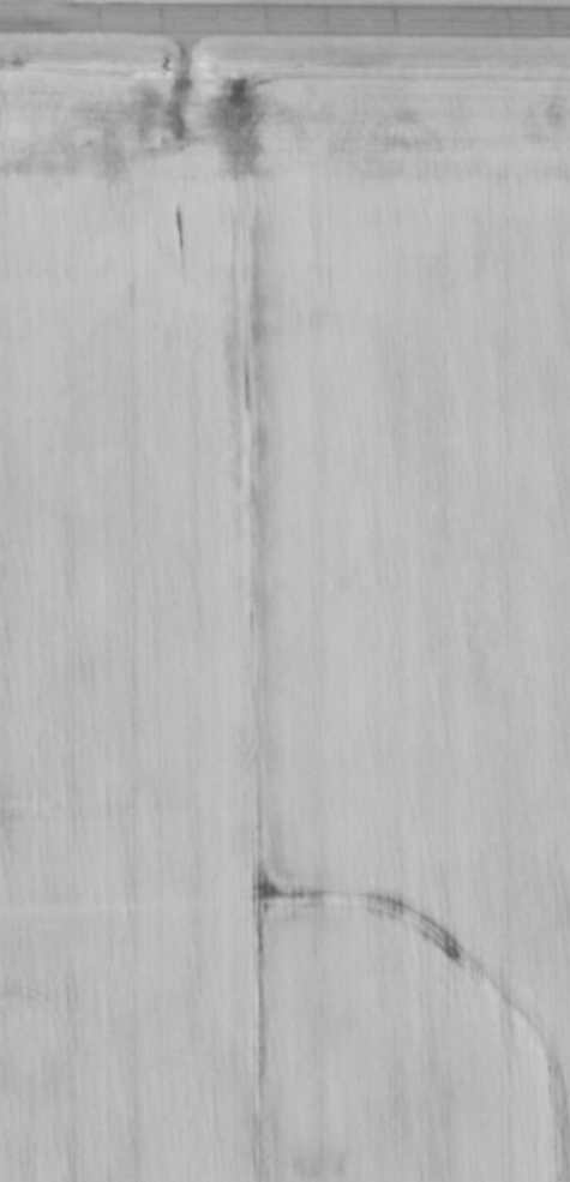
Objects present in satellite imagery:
road: (29, 8)
road: (284, 19)

